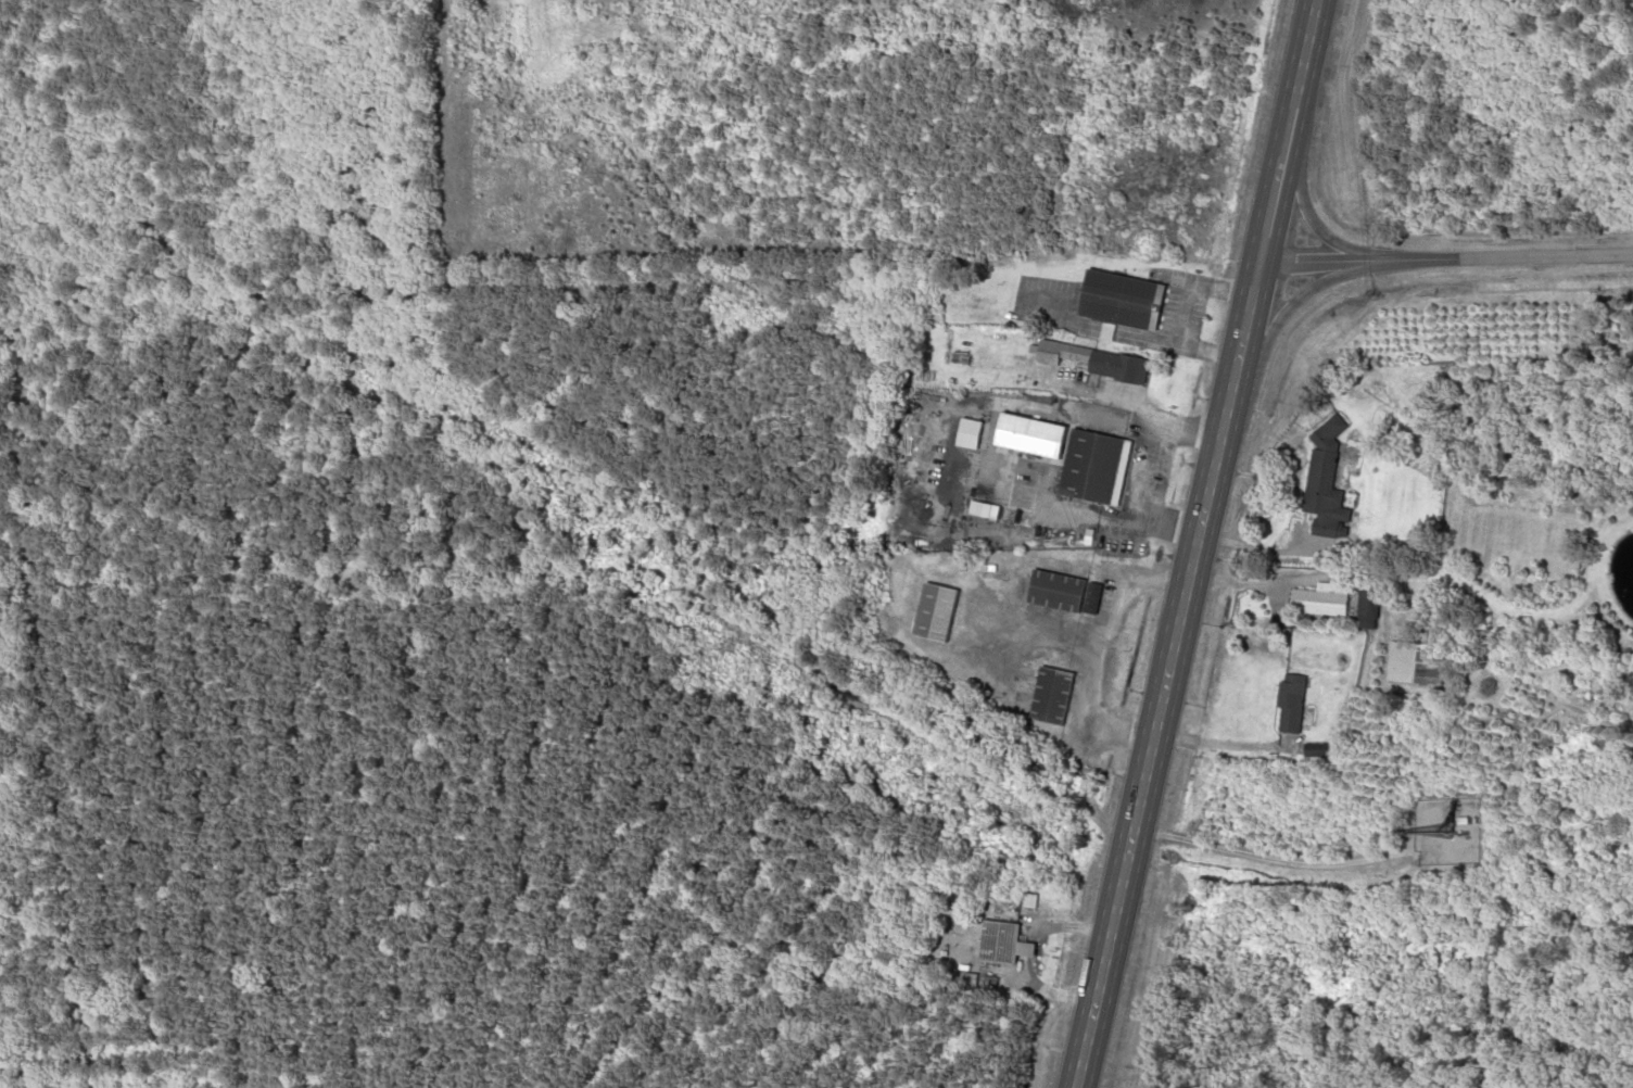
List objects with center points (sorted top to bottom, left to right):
road: (1293, 76)
road: (1265, 206)
road: (1308, 219)
road: (1443, 257)
building: (1113, 298)
road: (1289, 302)
building: (1087, 360)
building: (1087, 465)
building: (1320, 473)
building: (1053, 590)
building: (1089, 597)
building: (1315, 599)
building: (933, 610)
building: (1409, 661)
road: (1164, 673)
building: (1048, 693)
building: (1288, 704)
building: (1312, 750)
building: (1457, 822)
building: (995, 940)
road: (828, 1046)

